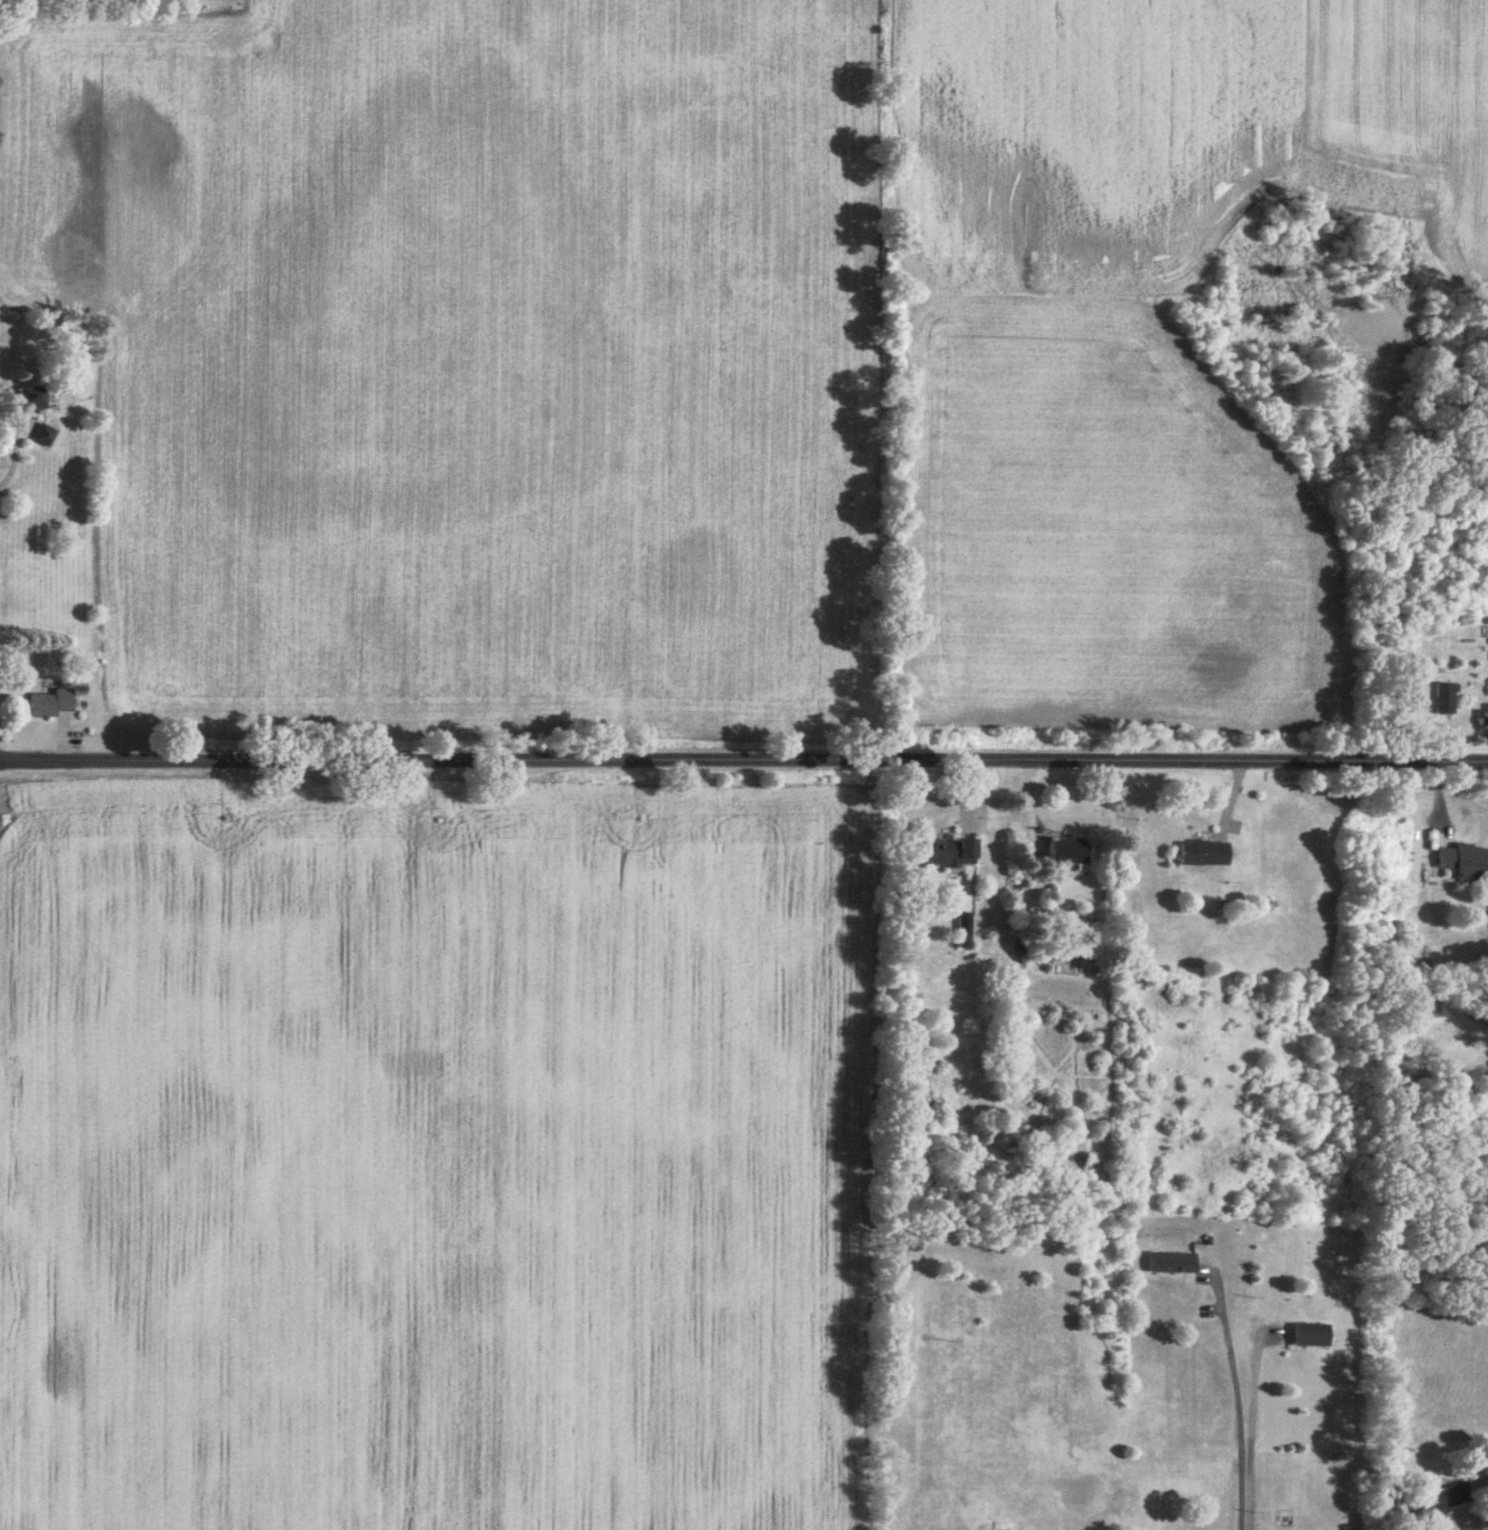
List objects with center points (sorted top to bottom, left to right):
park: (128, 3)
building: (29, 399)
building: (43, 436)
building: (1439, 701)
building: (51, 704)
building: (1485, 719)
road: (744, 760)
building: (1068, 852)
building: (947, 854)
building: (1203, 854)
building: (1463, 862)
building: (965, 931)
building: (1172, 1264)
building: (1311, 1336)
road: (1238, 1405)
building: (1440, 1501)
road: (1393, 1528)

